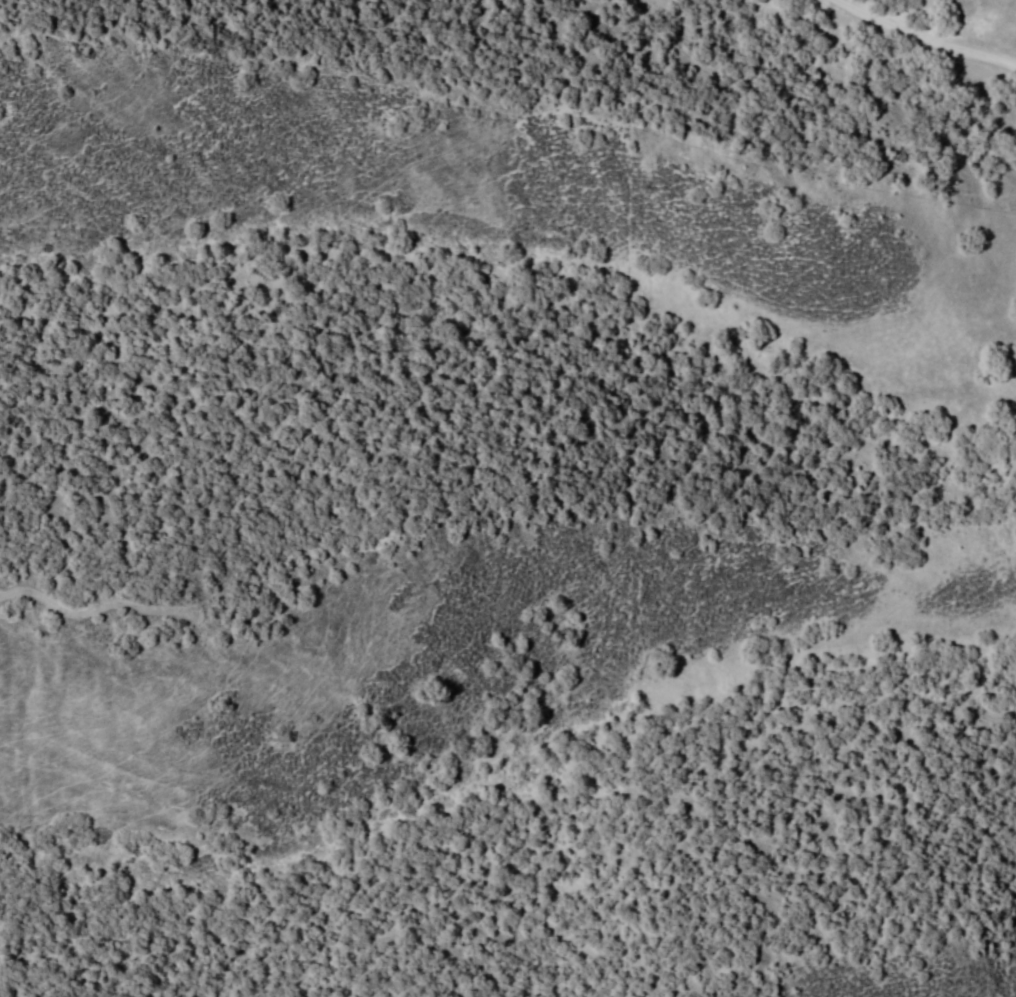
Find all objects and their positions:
road: (913, 24)

